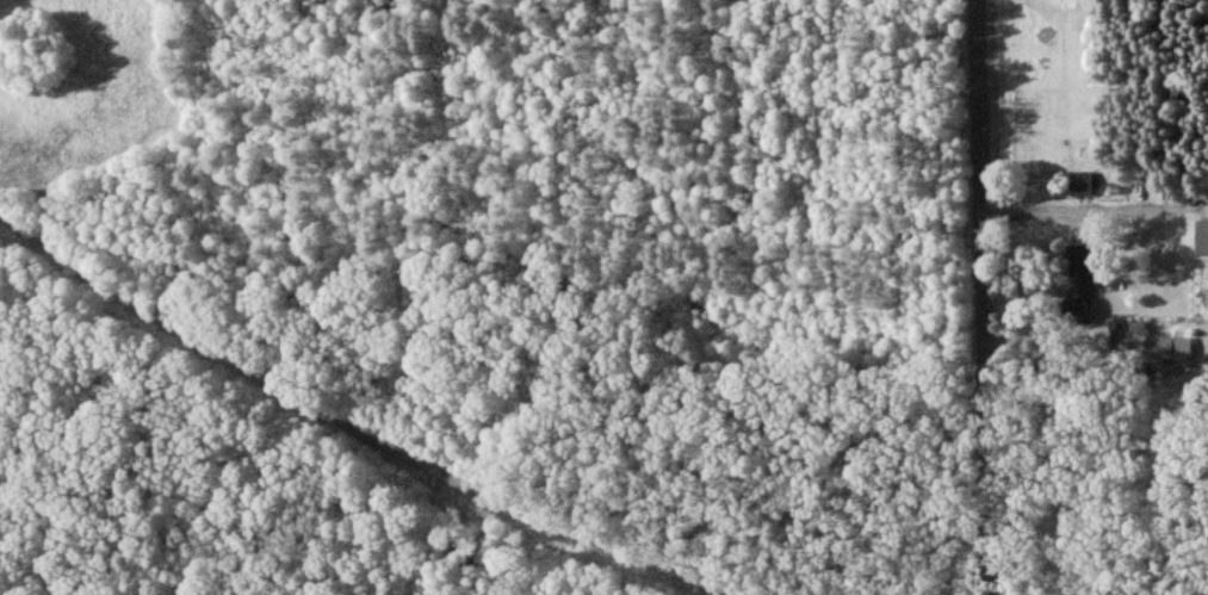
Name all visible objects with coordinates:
building: (1079, 185)
road: (1094, 209)
building: (1201, 237)
building: (1076, 289)
road: (980, 297)
building: (1165, 348)
road: (1054, 368)

